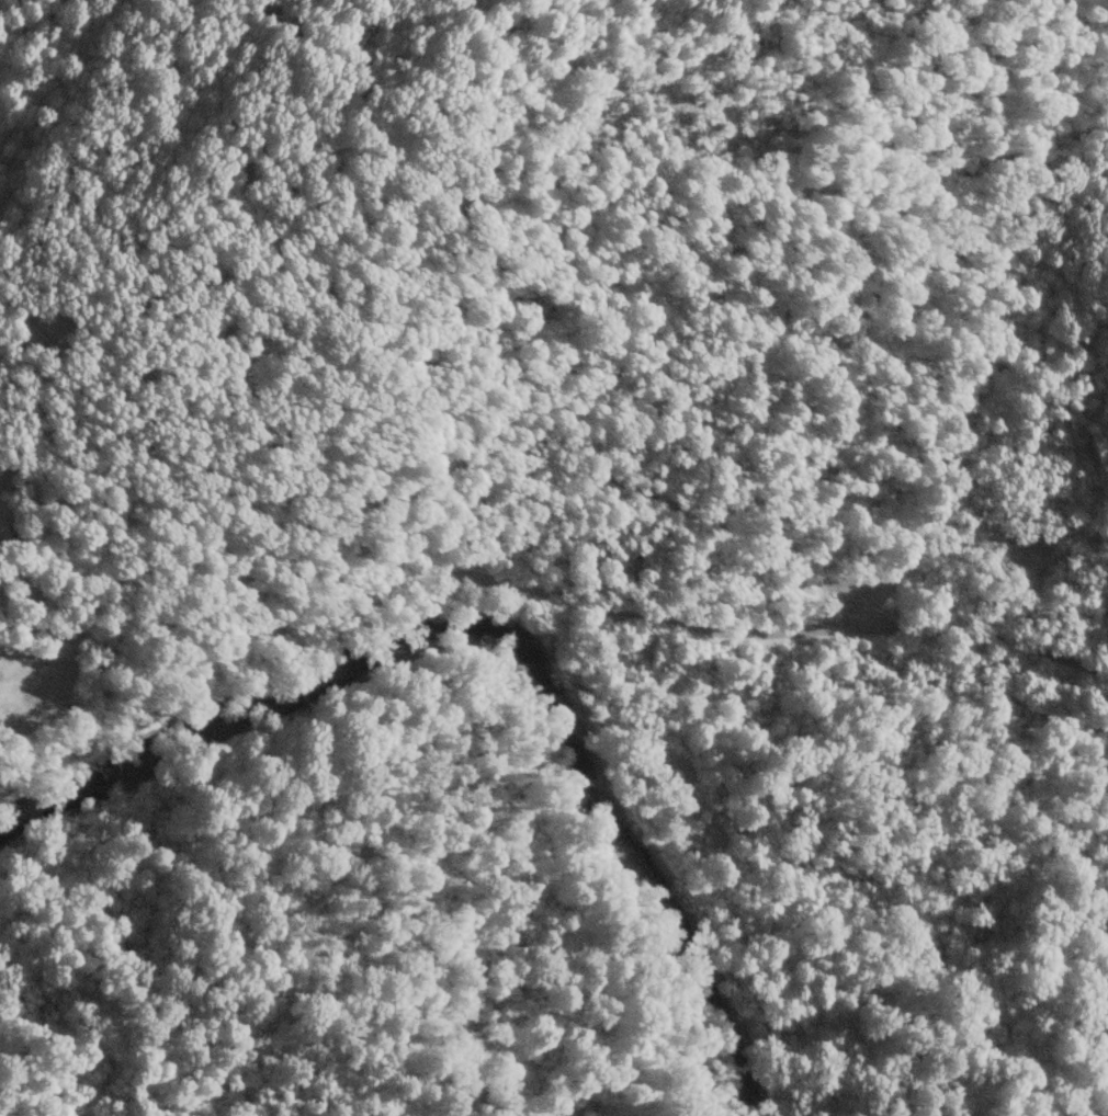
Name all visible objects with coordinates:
road: (546, 591)

